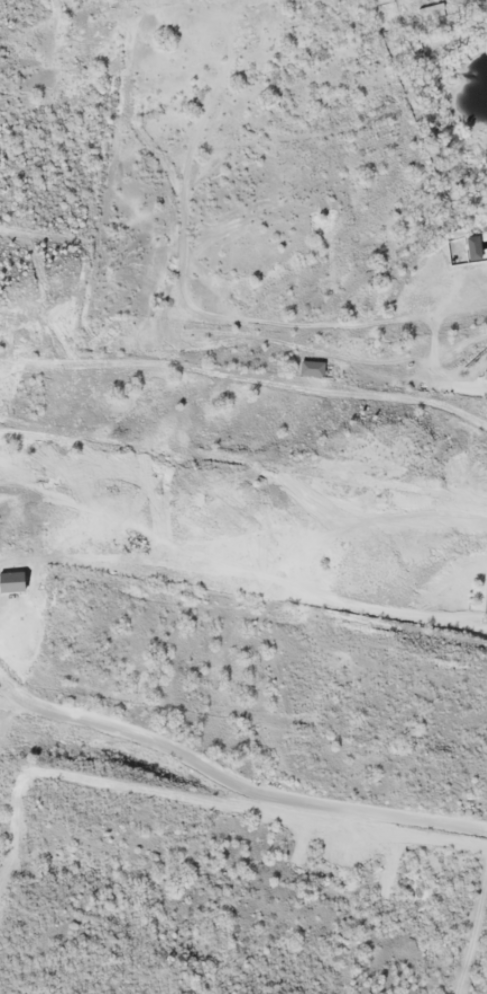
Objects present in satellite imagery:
building: (486, 602)
road: (234, 786)

